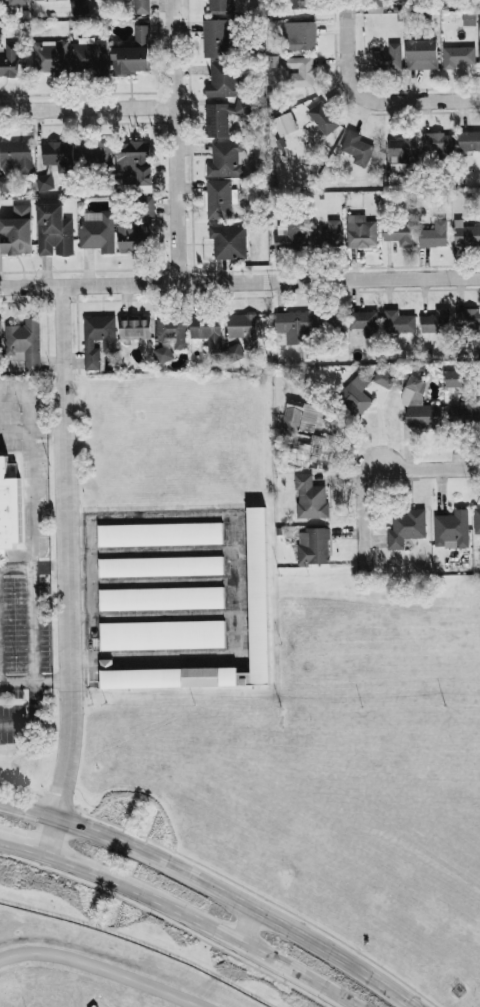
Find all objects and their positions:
building: (42, 0)
building: (17, 2)
building: (300, 4)
road: (343, 4)
building: (220, 6)
building: (376, 6)
building: (141, 7)
building: (78, 8)
building: (0, 33)
building: (299, 36)
building: (215, 39)
building: (133, 54)
building: (422, 55)
building: (89, 57)
building: (457, 57)
building: (51, 58)
building: (388, 59)
building: (9, 61)
building: (301, 72)
building: (223, 80)
road: (372, 101)
road: (87, 109)
building: (223, 117)
building: (323, 118)
building: (469, 141)
road: (176, 142)
building: (438, 144)
building: (356, 148)
building: (402, 149)
building: (96, 155)
building: (58, 156)
building: (14, 160)
building: (226, 160)
building: (134, 166)
building: (44, 183)
building: (219, 200)
building: (136, 228)
building: (54, 231)
building: (16, 232)
building: (97, 232)
building: (360, 232)
building: (291, 234)
building: (398, 234)
building: (466, 235)
building: (327, 236)
building: (434, 236)
building: (228, 242)
road: (239, 282)
building: (467, 320)
building: (328, 321)
building: (364, 322)
building: (398, 323)
building: (435, 323)
building: (293, 327)
building: (243, 329)
building: (134, 330)
building: (207, 331)
building: (170, 337)
building: (0, 338)
building: (98, 339)
building: (25, 344)
building: (232, 353)
building: (383, 379)
building: (456, 379)
building: (355, 395)
building: (419, 407)
building: (465, 415)
building: (298, 419)
road: (14, 432)
building: (313, 451)
road: (427, 469)
building: (310, 499)
building: (9, 509)
road: (362, 516)
building: (476, 521)
building: (406, 529)
building: (451, 530)
building: (159, 535)
road: (32, 545)
building: (313, 547)
building: (161, 567)
road: (16, 569)
road: (50, 570)
road: (69, 573)
building: (259, 597)
building: (162, 600)
building: (164, 637)
building: (170, 677)
road: (54, 680)
road: (17, 681)
road: (18, 724)
road: (22, 850)
road: (212, 887)
road: (167, 922)
road: (200, 923)
road: (251, 928)
road: (102, 969)
airport: (92, 972)

